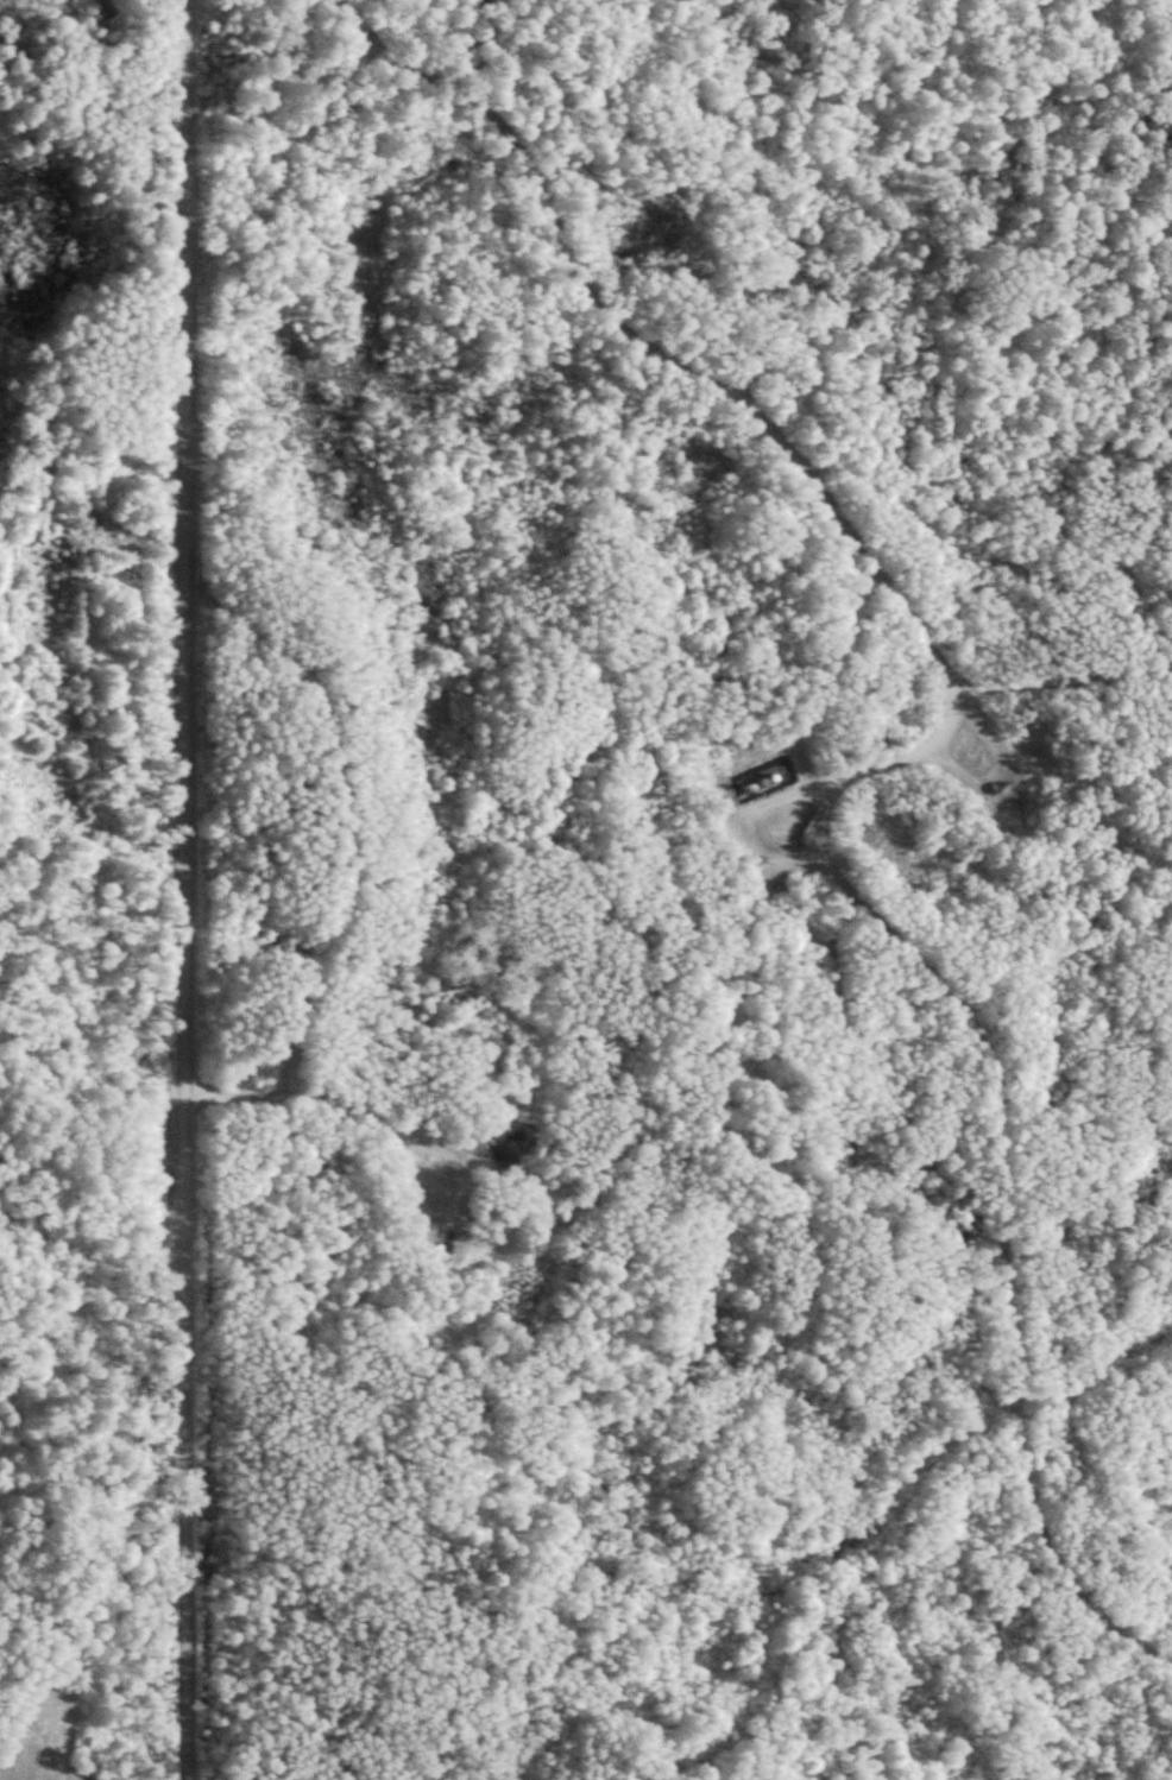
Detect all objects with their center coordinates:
road: (673, 358)
road: (1066, 696)
petroleum well: (1008, 777)
road: (190, 890)
road: (459, 1130)
petroleum well: (453, 1237)

